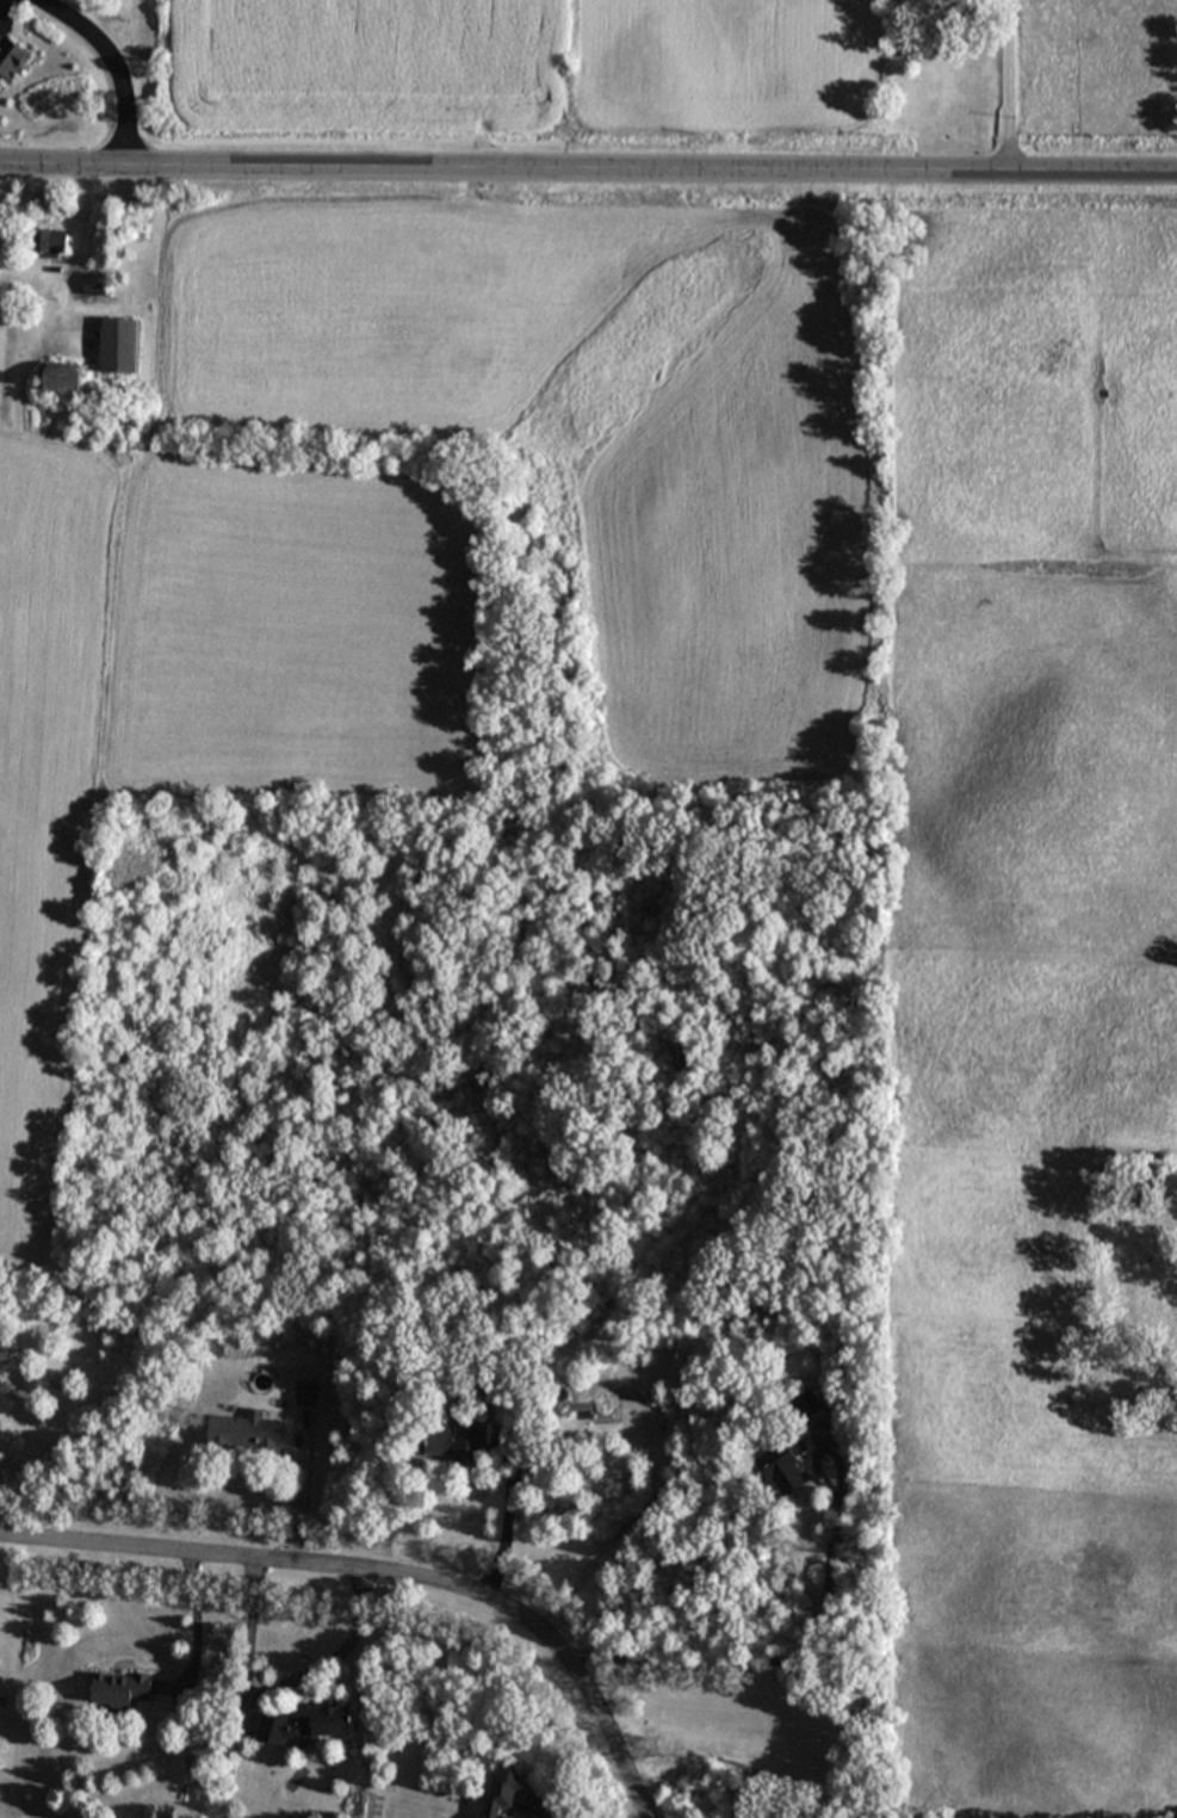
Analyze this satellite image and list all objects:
building: (11, 57)
road: (114, 66)
road: (1009, 87)
road: (588, 172)
building: (50, 240)
building: (92, 283)
building: (118, 346)
building: (62, 377)
building: (304, 1392)
building: (809, 1404)
building: (244, 1431)
building: (451, 1441)
building: (785, 1464)
road: (502, 1525)
road: (618, 1531)
road: (384, 1571)
road: (196, 1624)
road: (803, 1651)
road: (283, 1683)
building: (119, 1689)
building: (308, 1724)
building: (502, 1792)
road: (547, 1812)

